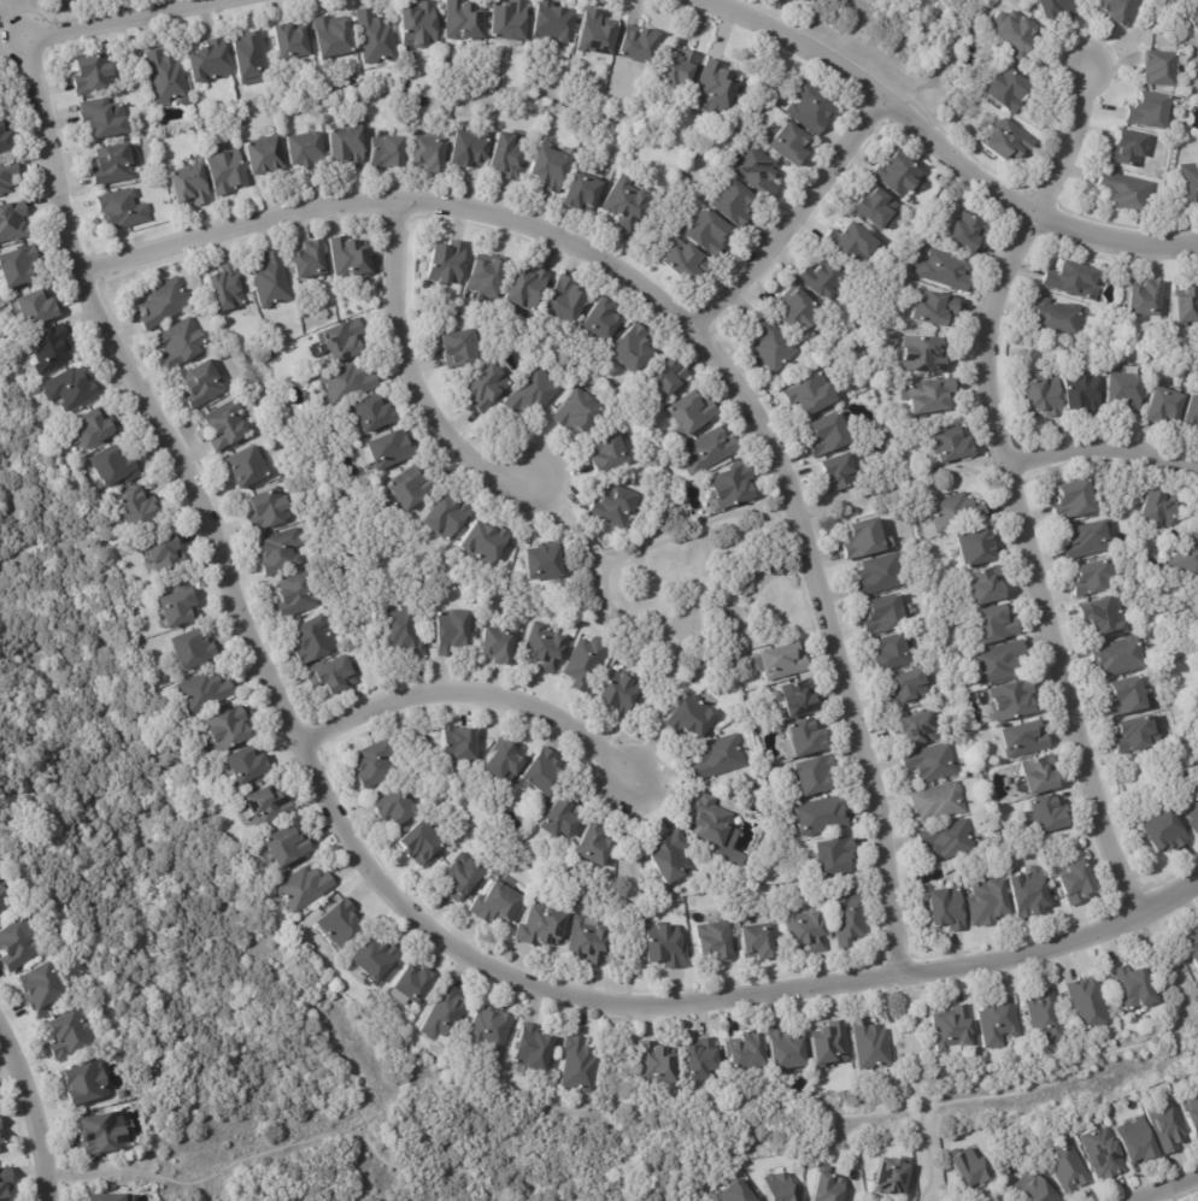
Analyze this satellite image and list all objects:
building: (804, 1)
building: (809, 1)
building: (1061, 8)
building: (1112, 11)
road: (122, 19)
building: (464, 20)
building: (510, 20)
building: (551, 23)
building: (421, 24)
building: (1015, 33)
building: (594, 34)
building: (334, 37)
building: (376, 37)
building: (290, 41)
building: (640, 43)
building: (251, 58)
building: (210, 60)
building: (679, 67)
building: (1163, 67)
building: (90, 72)
building: (165, 76)
building: (716, 86)
building: (1008, 90)
building: (812, 107)
building: (1150, 110)
building: (102, 118)
building: (5, 137)
building: (1006, 141)
building: (791, 145)
building: (346, 146)
building: (1129, 148)
building: (305, 151)
building: (468, 151)
building: (387, 152)
building: (429, 153)
building: (263, 155)
road: (932, 155)
building: (506, 157)
building: (116, 164)
building: (757, 167)
building: (548, 169)
building: (225, 171)
building: (7, 175)
building: (899, 175)
building: (1190, 184)
building: (189, 186)
building: (1126, 192)
building: (582, 193)
building: (626, 202)
building: (735, 202)
building: (875, 207)
building: (122, 210)
road: (783, 220)
building: (12, 222)
building: (969, 231)
building: (705, 234)
building: (851, 243)
building: (348, 258)
building: (310, 260)
building: (447, 263)
building: (687, 263)
building: (18, 266)
building: (945, 270)
building: (487, 277)
building: (824, 278)
building: (271, 281)
building: (1073, 281)
building: (227, 289)
building: (527, 289)
building: (1147, 299)
building: (566, 301)
building: (164, 304)
building: (1187, 306)
building: (36, 308)
building: (936, 308)
building: (795, 312)
building: (1057, 318)
building: (605, 320)
road: (695, 340)
building: (343, 341)
building: (181, 343)
building: (771, 346)
building: (460, 348)
building: (634, 348)
building: (52, 349)
building: (924, 355)
road: (407, 379)
building: (668, 379)
building: (347, 383)
building: (202, 384)
building: (488, 388)
building: (71, 389)
building: (535, 393)
building: (1084, 393)
building: (1122, 393)
building: (810, 395)
building: (932, 396)
building: (1044, 398)
building: (1164, 408)
building: (1192, 412)
building: (580, 413)
building: (691, 413)
building: (374, 414)
building: (225, 425)
building: (94, 430)
building: (829, 436)
building: (952, 446)
road: (1099, 446)
building: (389, 449)
building: (710, 452)
building: (610, 453)
building: (113, 467)
building: (245, 467)
building: (838, 473)
building: (409, 487)
building: (734, 487)
road: (1006, 487)
building: (1073, 500)
building: (137, 508)
building: (615, 508)
building: (269, 510)
building: (1159, 510)
building: (957, 513)
building: (446, 517)
building: (862, 540)
building: (1085, 540)
building: (483, 544)
building: (975, 547)
building: (281, 552)
building: (164, 554)
building: (1190, 561)
building: (544, 565)
building: (775, 570)
building: (880, 576)
building: (1091, 577)
building: (986, 585)
building: (295, 596)
building: (178, 610)
building: (886, 617)
building: (1108, 619)
building: (998, 626)
building: (404, 632)
building: (453, 632)
building: (312, 640)
building: (498, 648)
building: (192, 649)
building: (545, 649)
building: (893, 654)
building: (1120, 658)
building: (783, 661)
building: (997, 661)
building: (586, 663)
building: (331, 676)
building: (905, 689)
building: (204, 693)
road: (474, 693)
building: (618, 694)
building: (1124, 697)
building: (800, 699)
building: (1015, 702)
building: (689, 718)
building: (910, 729)
building: (229, 731)
building: (1133, 734)
building: (806, 737)
building: (1023, 738)
building: (458, 744)
building: (720, 758)
building: (504, 763)
building: (932, 764)
building: (374, 765)
building: (248, 769)
building: (542, 770)
building: (814, 776)
building: (1041, 777)
building: (939, 803)
building: (265, 806)
building: (393, 808)
building: (1191, 810)
building: (820, 816)
building: (1049, 817)
building: (559, 819)
building: (712, 823)
building: (1163, 831)
building: (949, 841)
building: (419, 844)
building: (593, 846)
building: (287, 849)
building: (832, 856)
building: (671, 859)
road: (363, 865)
building: (462, 877)
building: (542, 879)
building: (1075, 884)
building: (304, 889)
building: (1027, 893)
building: (2, 896)
building: (497, 905)
building: (988, 905)
building: (947, 912)
building: (848, 918)
building: (340, 924)
building: (540, 929)
building: (805, 931)
building: (19, 942)
building: (587, 943)
building: (716, 943)
building: (757, 943)
building: (1193, 947)
building: (665, 948)
building: (374, 961)
building: (410, 985)
building: (42, 987)
building: (1137, 990)
building: (1088, 1006)
building: (444, 1018)
building: (1046, 1019)
building: (997, 1023)
building: (952, 1030)
building: (71, 1032)
building: (488, 1032)
building: (828, 1043)
building: (871, 1047)
building: (532, 1052)
building: (787, 1053)
building: (746, 1054)
building: (700, 1061)
building: (580, 1067)
building: (657, 1067)
building: (87, 1085)
building: (122, 1094)
building: (1192, 1112)
road: (33, 1120)
building: (1167, 1124)
building: (102, 1134)
building: (0, 1140)
building: (1139, 1141)
building: (1104, 1153)
building: (1067, 1166)
building: (971, 1167)
building: (891, 1177)
building: (5, 1182)
building: (780, 1188)
building: (827, 1188)
building: (1033, 1188)
road: (1171, 1190)
building: (736, 1193)
building: (106, 1197)
road: (874, 1200)

